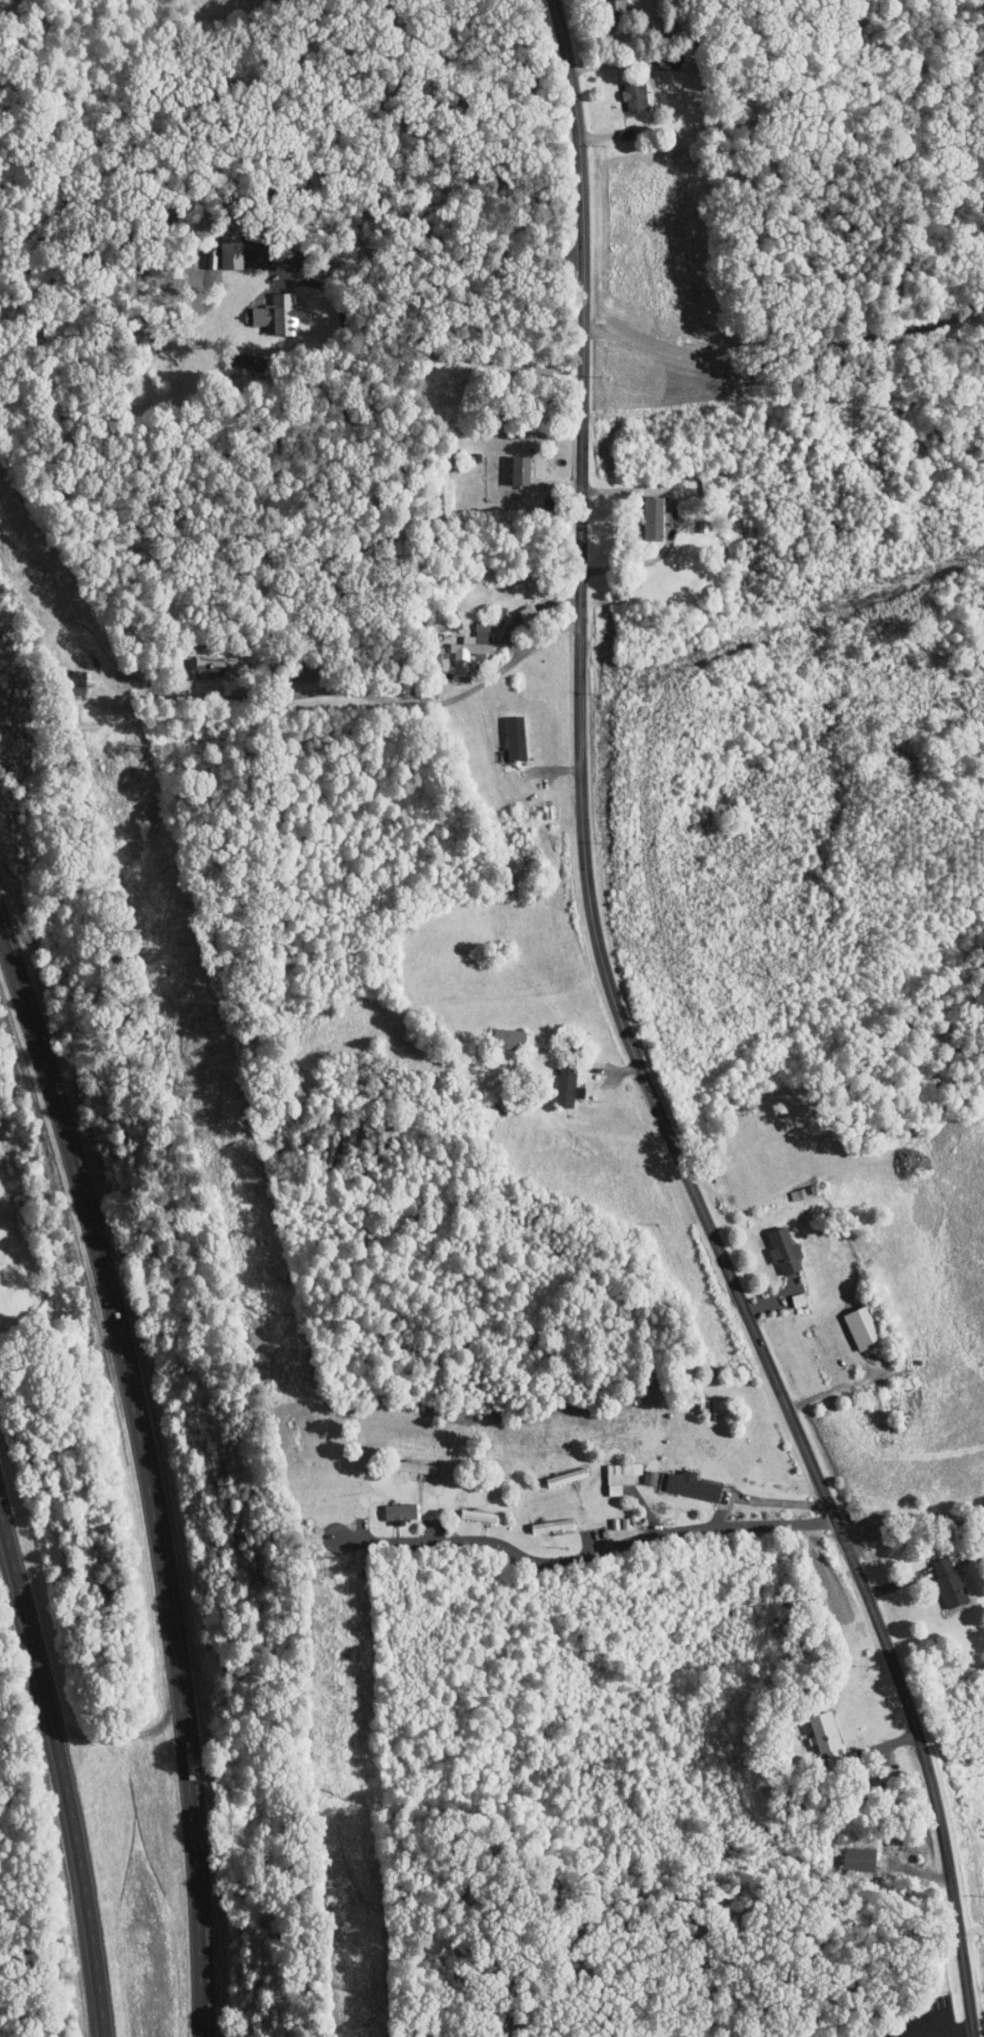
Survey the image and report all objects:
building: (601, 4)
building: (621, 90)
road: (663, 92)
building: (619, 128)
building: (219, 249)
building: (266, 309)
road: (447, 343)
building: (231, 355)
building: (507, 463)
building: (640, 511)
building: (459, 640)
building: (429, 655)
building: (195, 661)
building: (65, 676)
road: (380, 697)
building: (501, 731)
road: (309, 813)
building: (496, 1032)
road: (634, 1044)
building: (554, 1080)
building: (770, 1244)
building: (785, 1294)
building: (849, 1321)
building: (697, 1400)
building: (608, 1470)
building: (553, 1471)
building: (637, 1471)
road: (147, 1475)
building: (679, 1480)
building: (387, 1505)
road: (914, 1522)
road: (588, 1552)
building: (936, 1576)
building: (811, 1727)
road: (62, 1769)
building: (845, 1853)

